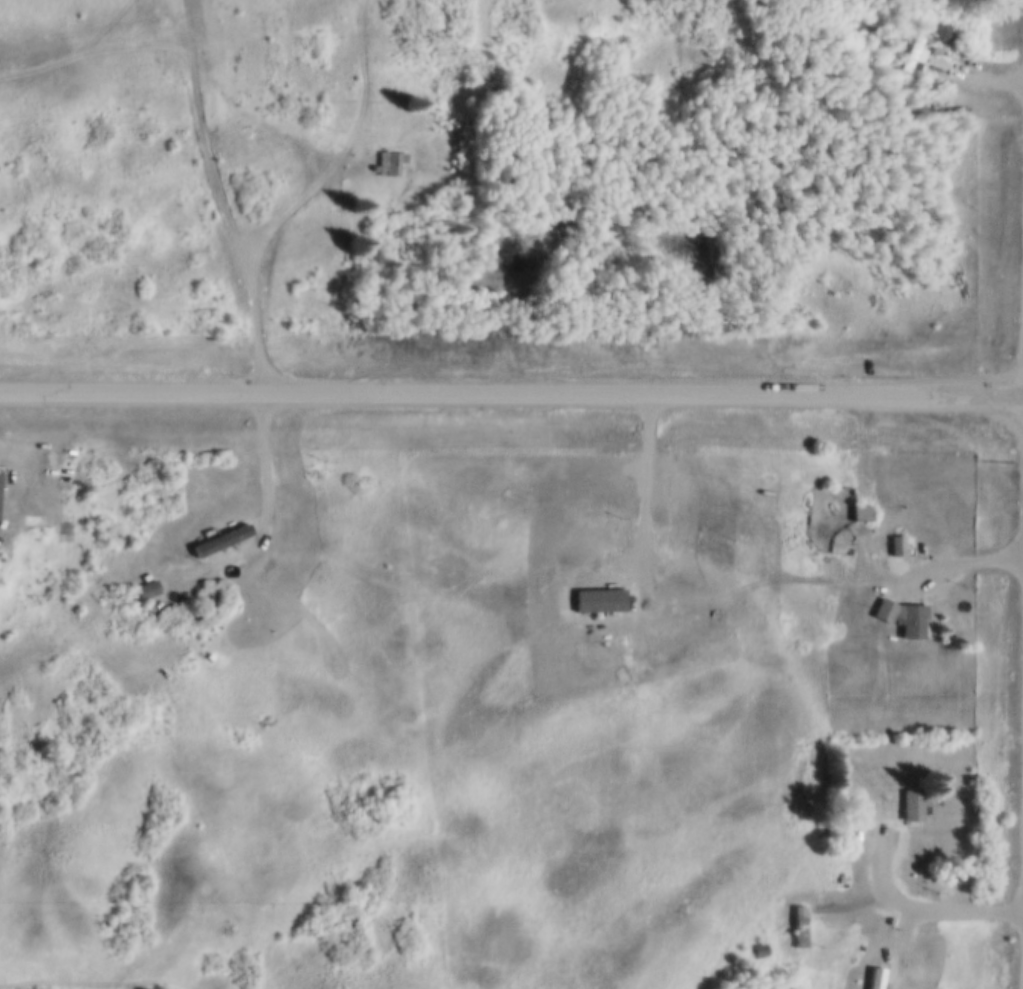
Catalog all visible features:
building: (917, 48)
road: (71, 51)
building: (388, 160)
road: (264, 345)
road: (511, 392)
building: (322, 446)
building: (861, 510)
building: (226, 535)
building: (896, 544)
building: (213, 547)
road: (956, 564)
building: (234, 573)
building: (902, 615)
building: (184, 657)
building: (915, 801)
road: (921, 908)
building: (798, 924)
building: (760, 947)
building: (874, 977)

